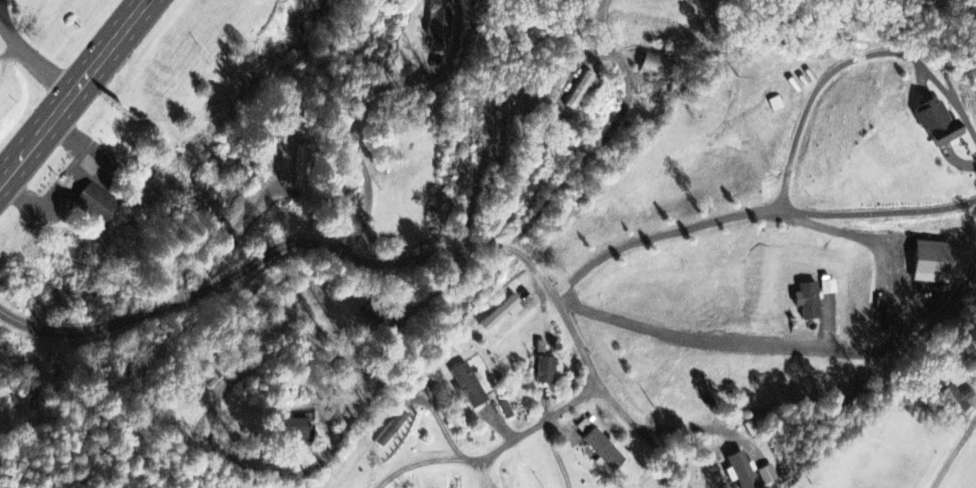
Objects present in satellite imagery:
building: (439, 25)
road: (37, 58)
building: (656, 68)
road: (819, 90)
road: (75, 93)
building: (776, 105)
road: (955, 110)
building: (936, 124)
building: (302, 168)
building: (93, 204)
road: (755, 210)
road: (388, 263)
building: (932, 263)
building: (807, 302)
building: (501, 314)
road: (733, 345)
building: (544, 372)
building: (468, 387)
building: (955, 401)
building: (391, 430)
building: (295, 432)
building: (603, 451)
road: (954, 451)
road: (495, 452)
building: (741, 471)
road: (272, 476)
building: (768, 476)

